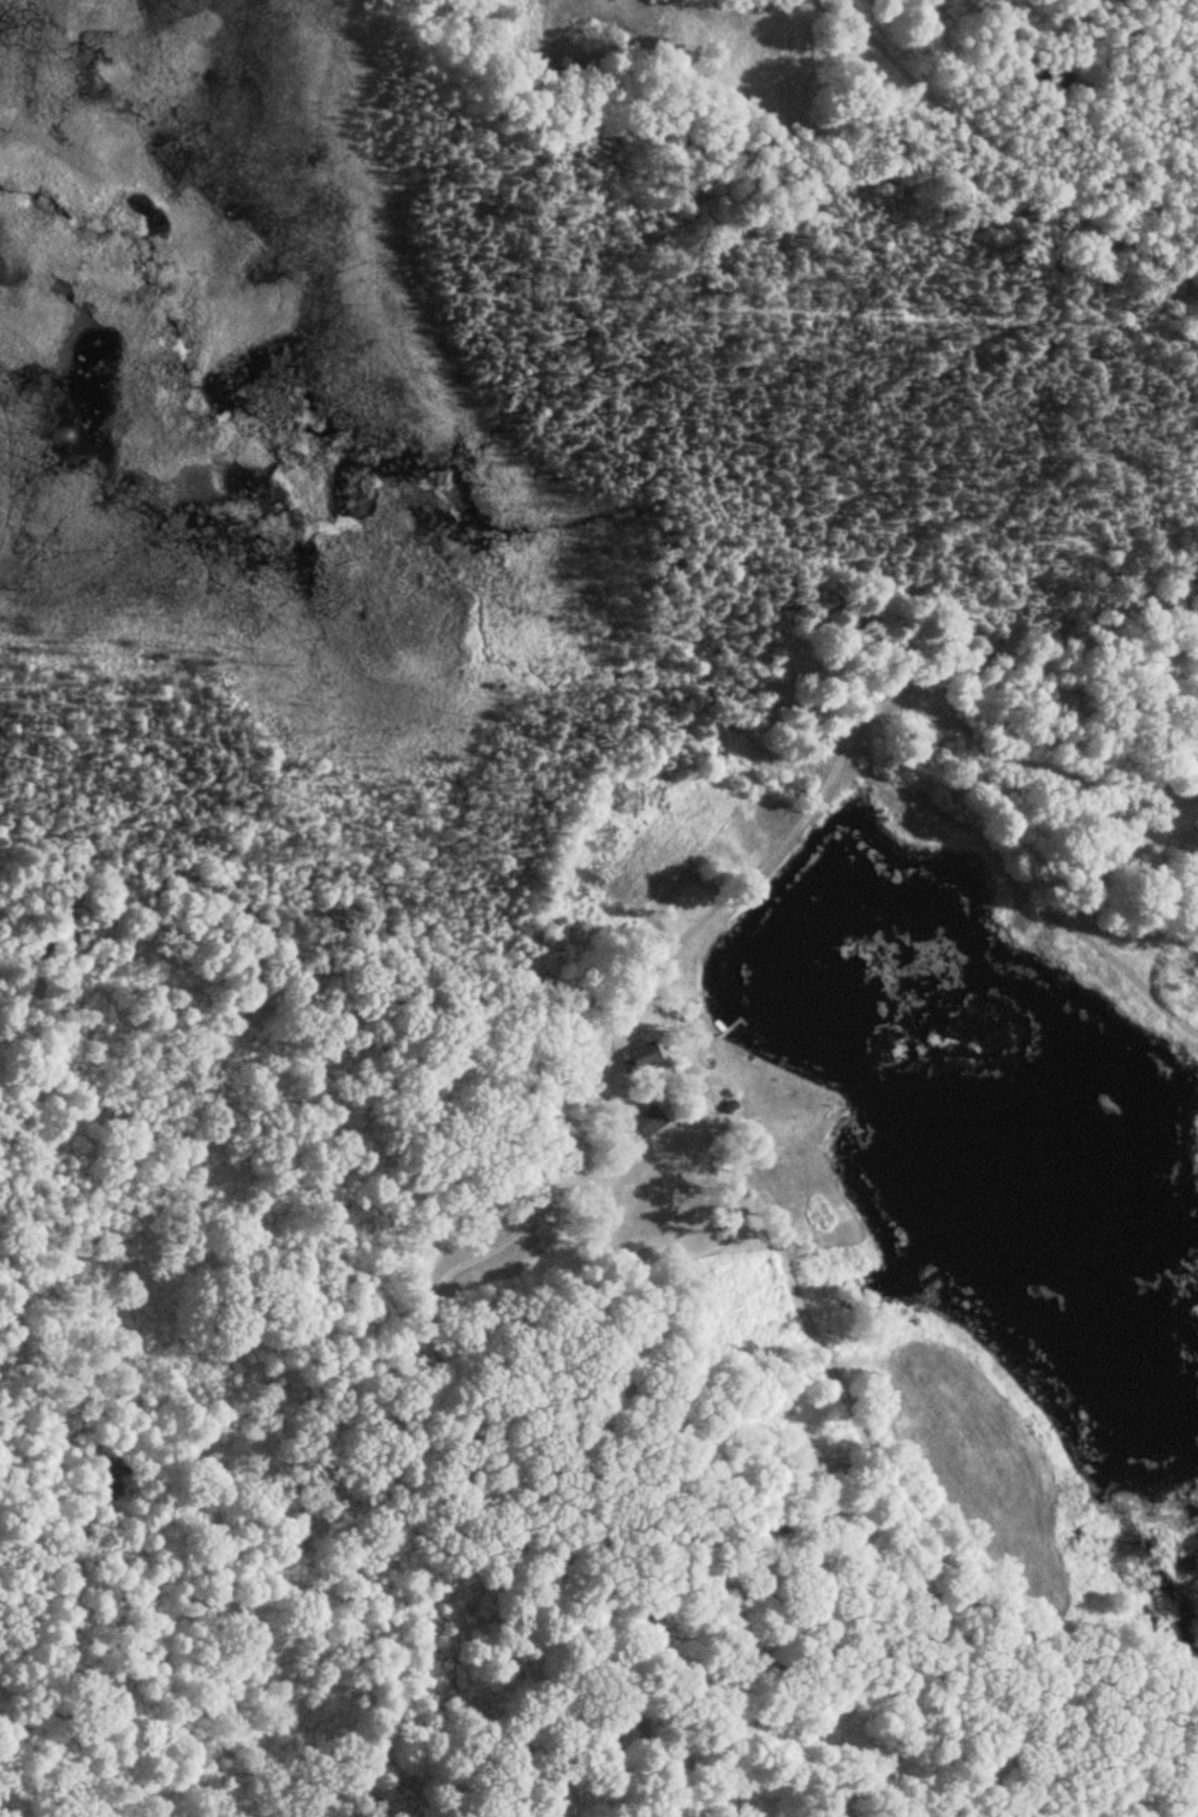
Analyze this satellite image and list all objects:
building: (640, 1059)
building: (645, 1122)

